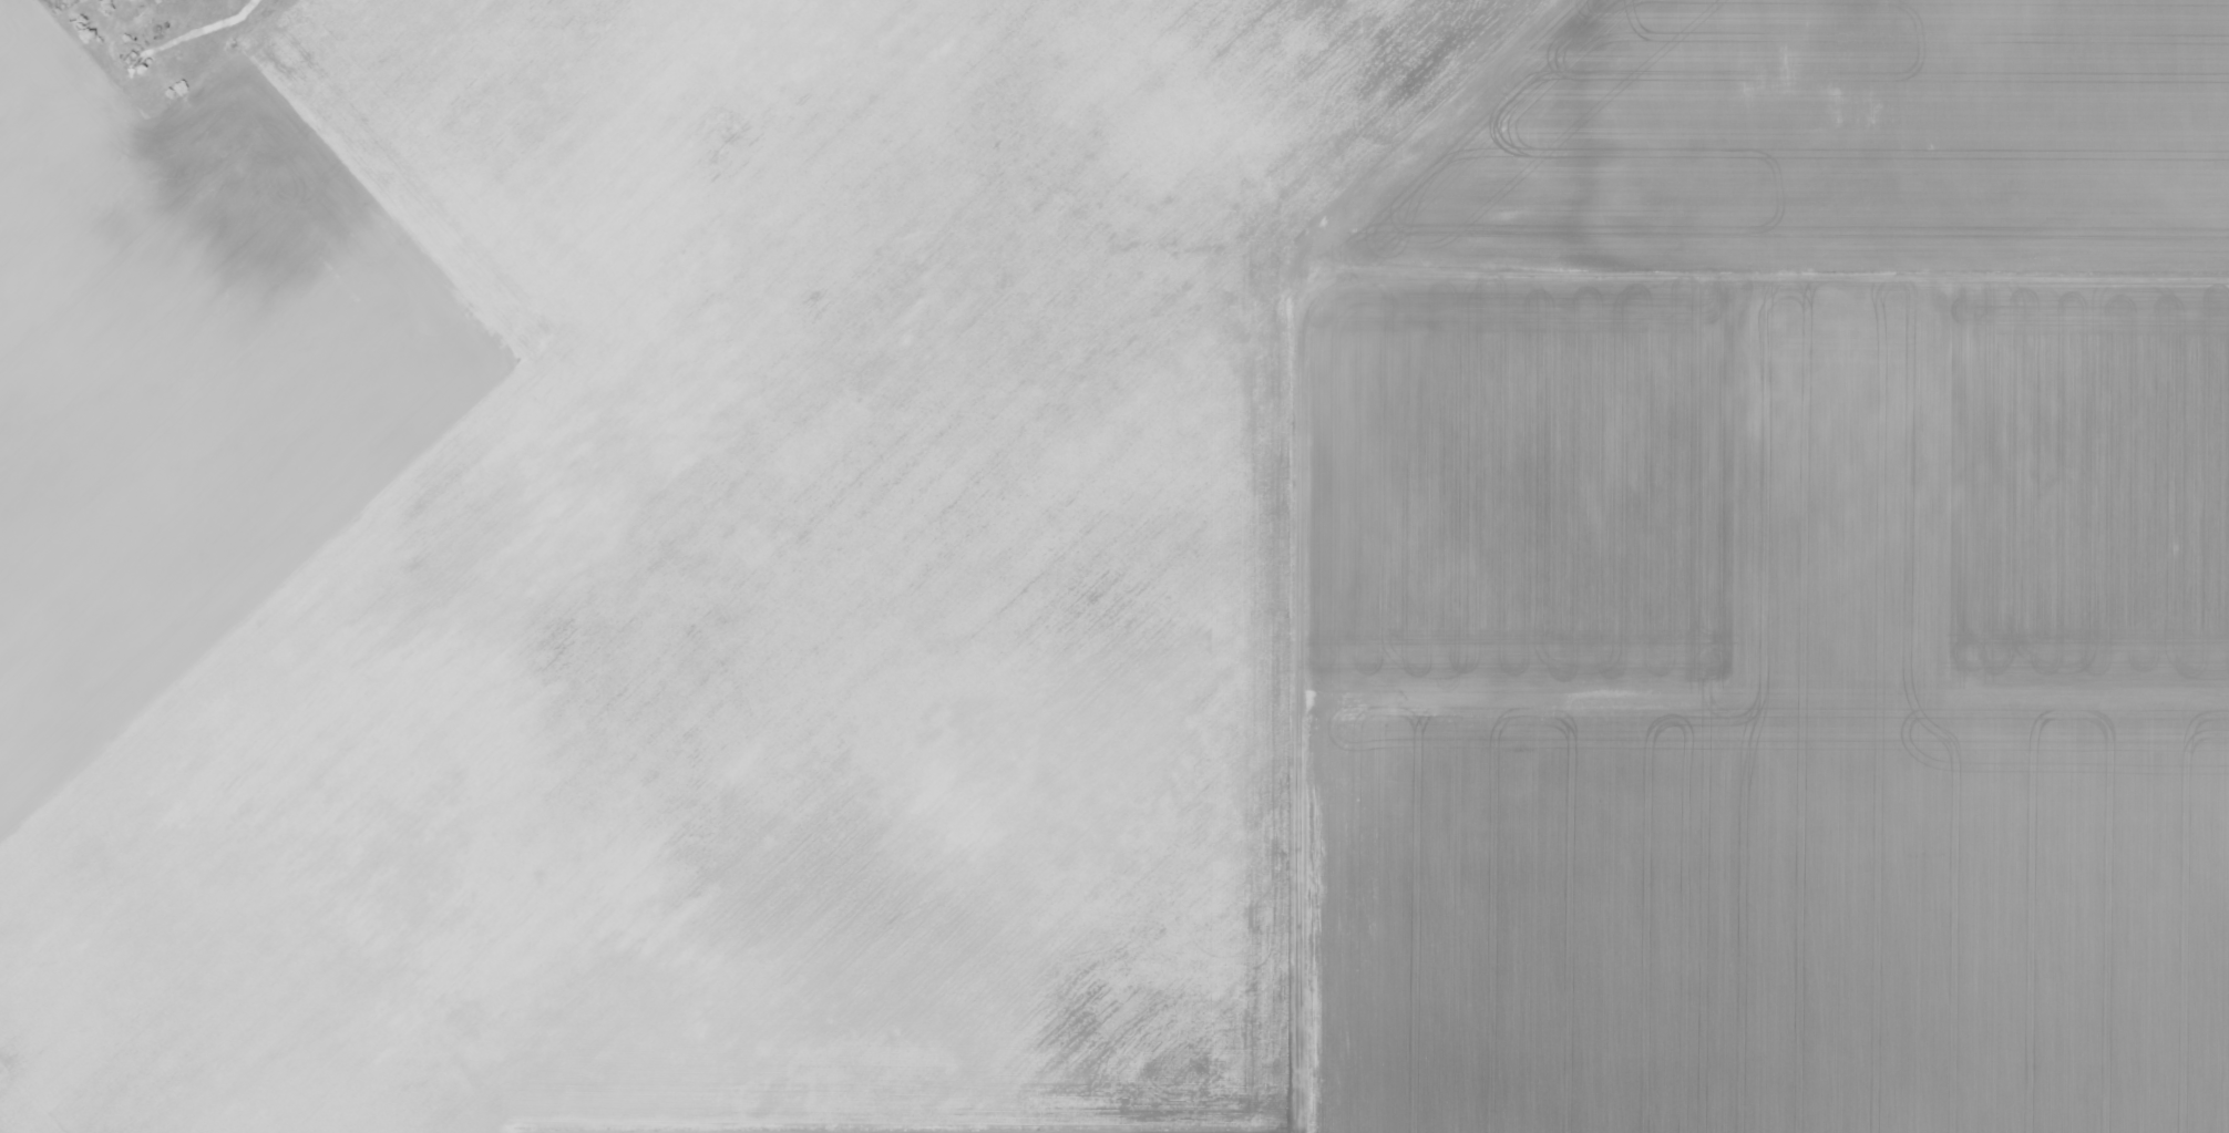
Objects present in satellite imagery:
building: (132, 61)
road: (1352, 276)

